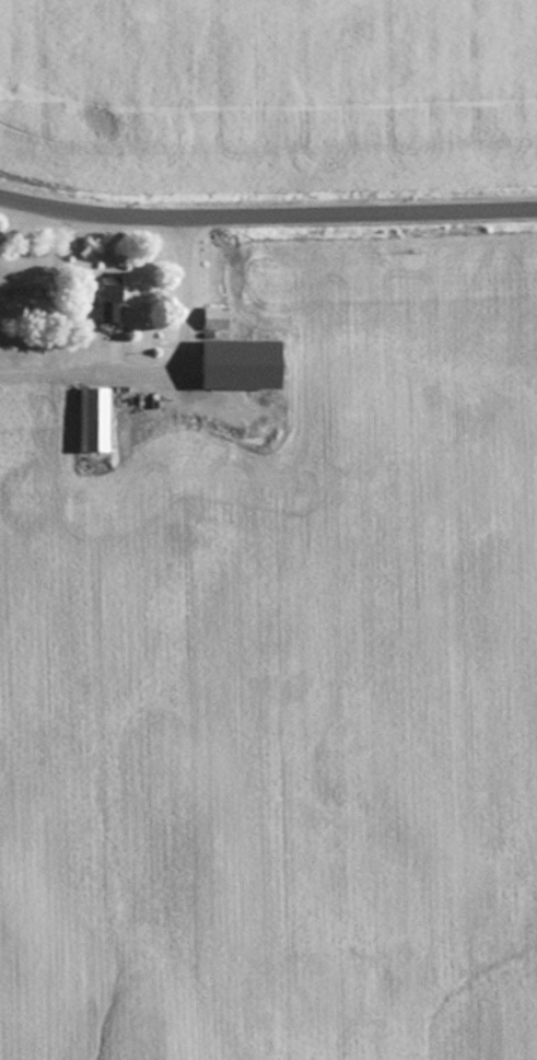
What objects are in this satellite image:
road: (267, 218)
building: (110, 299)
building: (218, 316)
building: (249, 363)
building: (96, 417)

